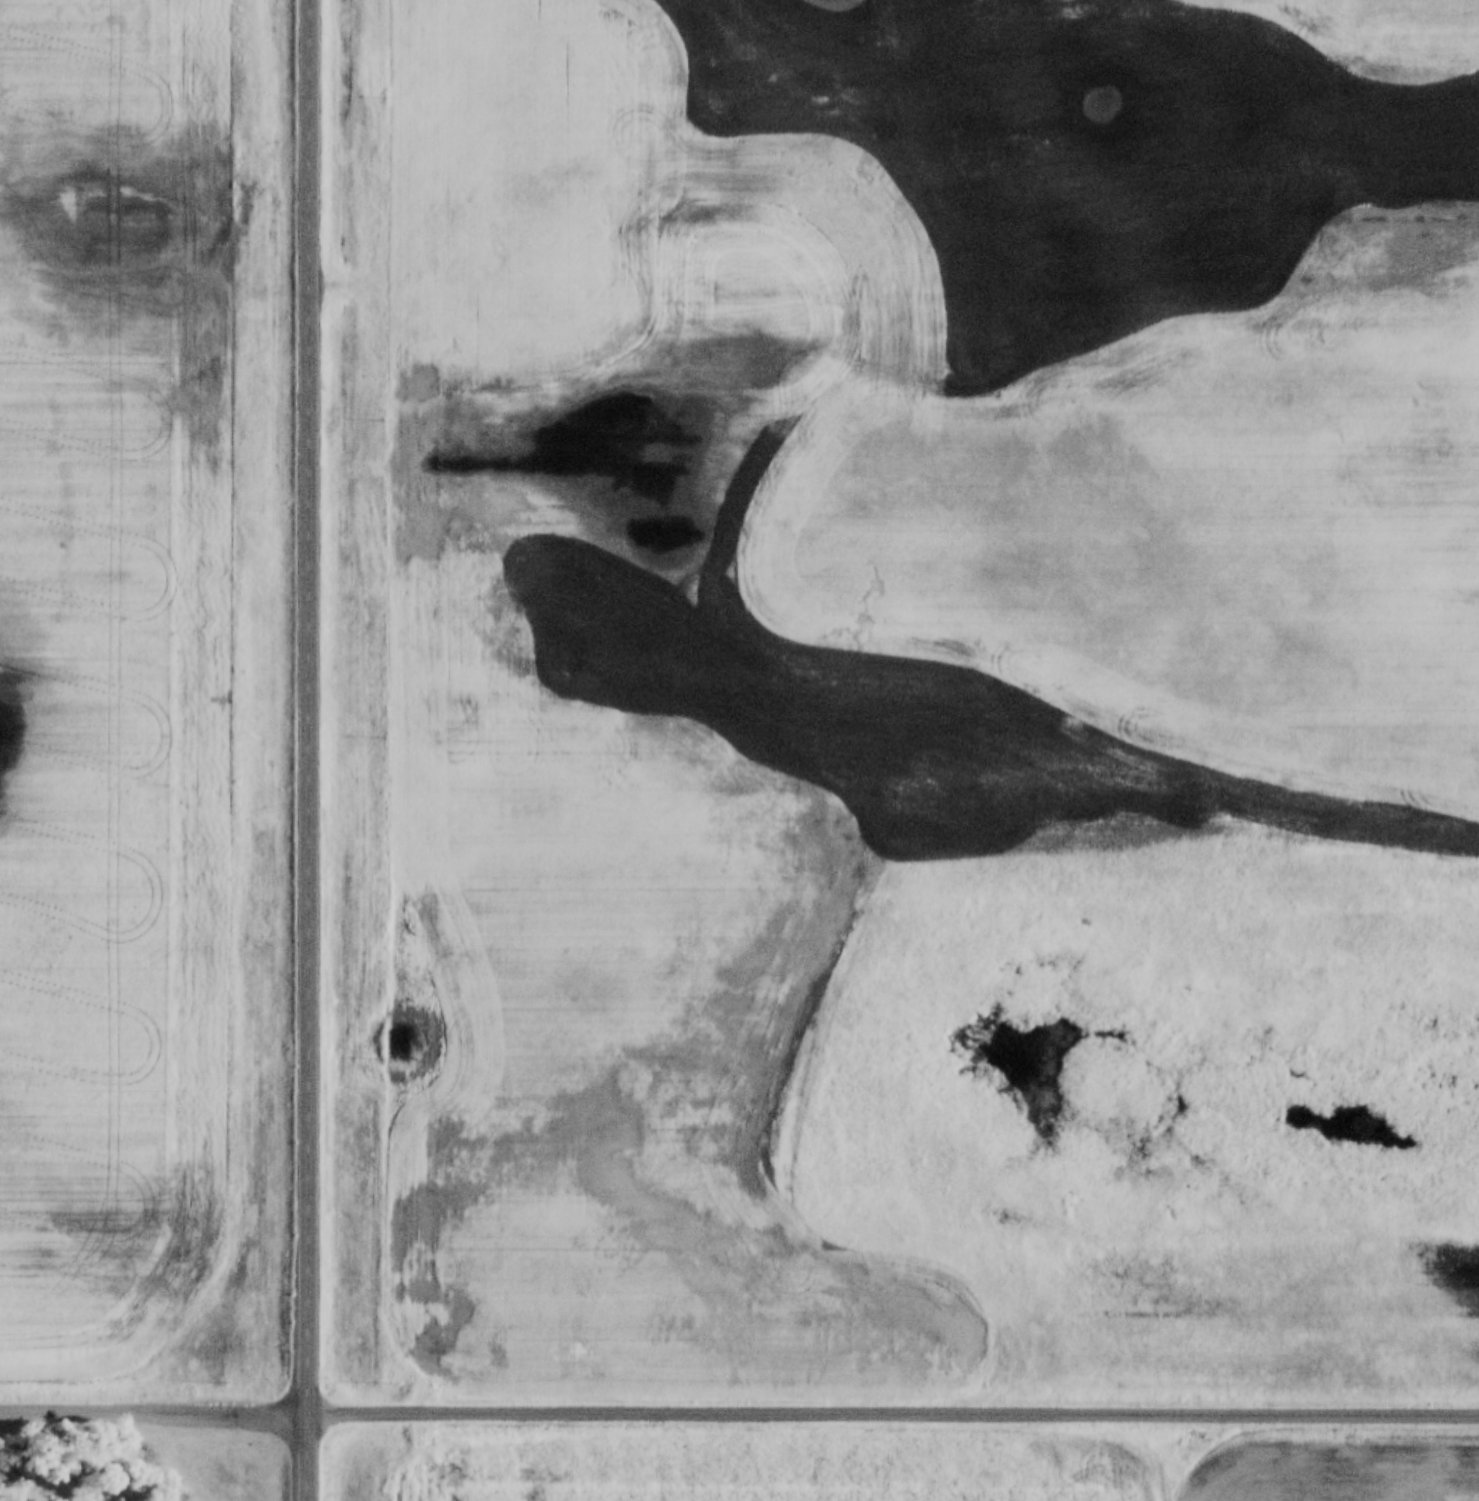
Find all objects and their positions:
road: (306, 750)
road: (739, 1413)

